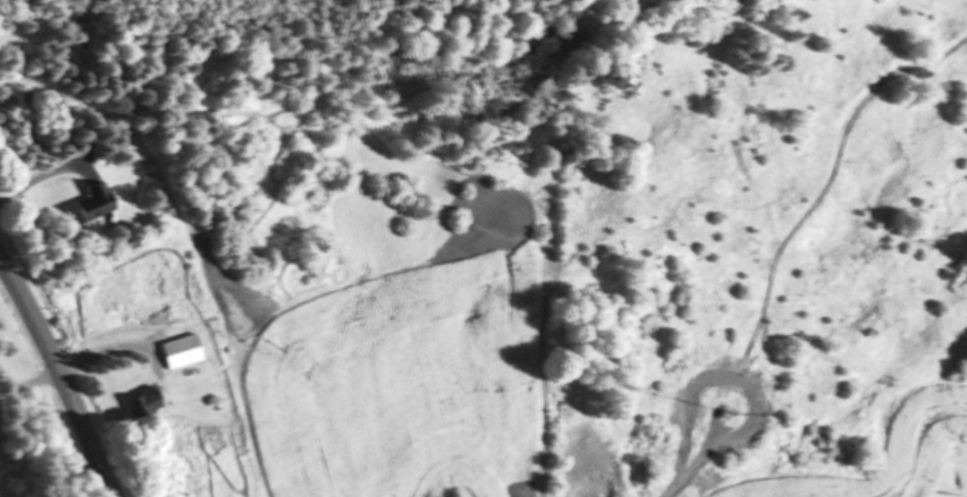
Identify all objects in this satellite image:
road: (35, 180)
building: (96, 204)
building: (183, 353)
road: (59, 369)
road: (58, 378)
building: (146, 404)
road: (695, 471)

